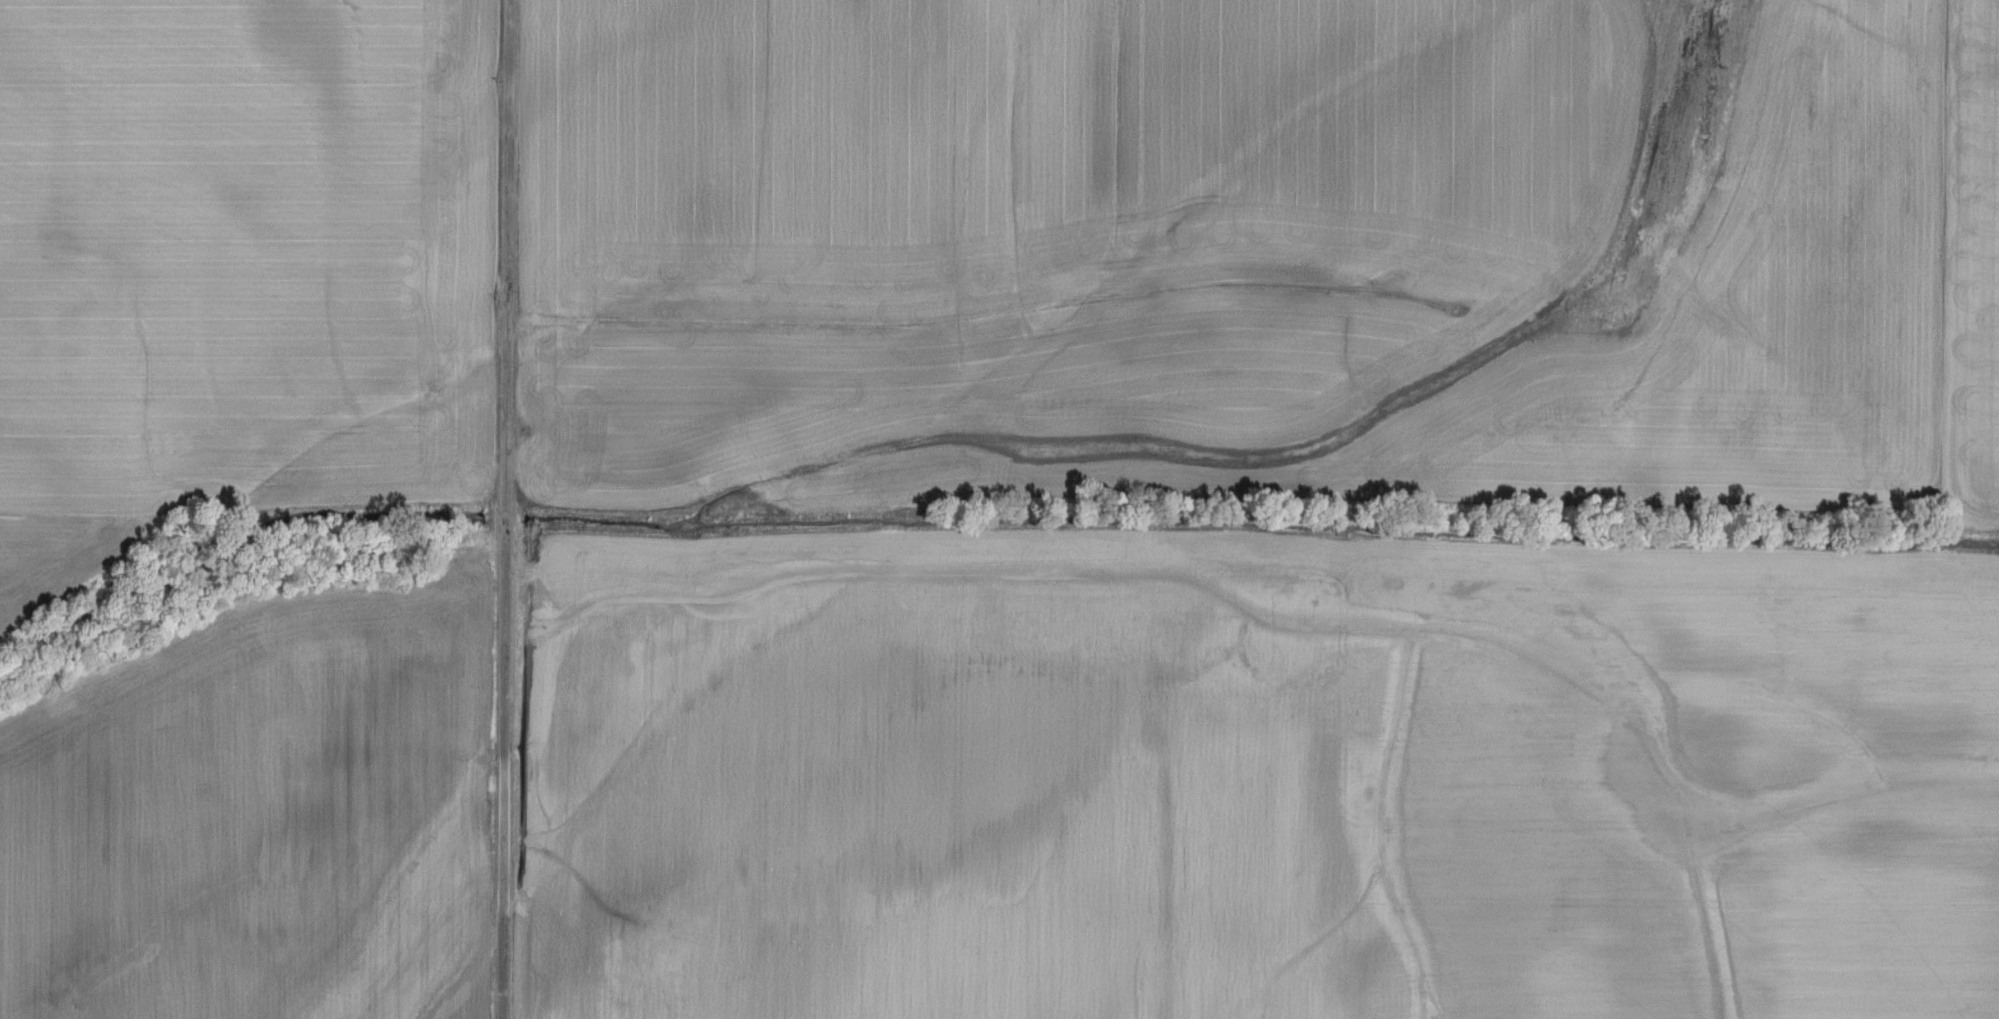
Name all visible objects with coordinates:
road: (1007, 315)
road: (505, 509)

